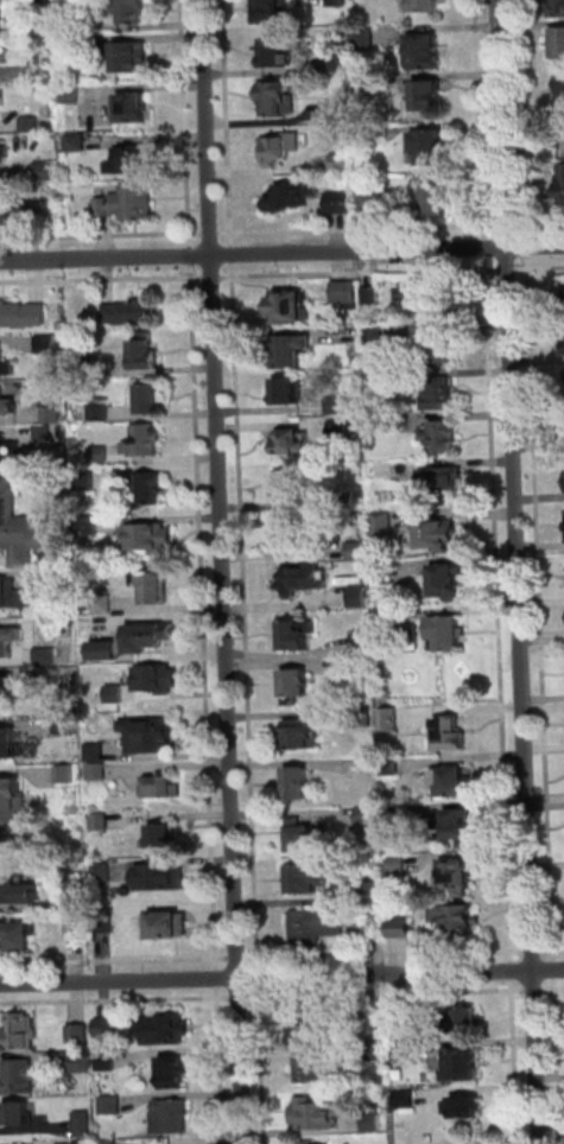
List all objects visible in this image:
building: (40, 4)
building: (338, 4)
building: (425, 6)
building: (557, 7)
building: (131, 11)
building: (272, 12)
building: (1, 19)
building: (78, 25)
building: (365, 39)
building: (68, 44)
building: (560, 45)
building: (426, 52)
building: (278, 53)
building: (133, 58)
building: (338, 66)
building: (39, 71)
building: (366, 87)
building: (560, 93)
building: (72, 94)
building: (431, 98)
building: (279, 100)
building: (135, 109)
building: (338, 112)
road: (522, 119)
building: (31, 126)
building: (78, 142)
building: (281, 148)
building: (432, 148)
building: (4, 158)
building: (131, 163)
building: (343, 163)
building: (46, 171)
building: (563, 179)
building: (291, 197)
building: (437, 202)
building: (134, 203)
building: (341, 204)
building: (370, 204)
building: (103, 206)
building: (2, 210)
building: (28, 212)
road: (539, 224)
road: (509, 225)
road: (527, 246)
road: (281, 253)
road: (192, 260)
road: (539, 268)
road: (511, 269)
road: (208, 278)
road: (101, 279)
building: (347, 295)
building: (372, 298)
building: (431, 301)
building: (291, 310)
building: (133, 313)
building: (23, 317)
building: (375, 337)
building: (563, 341)
building: (47, 345)
building: (439, 349)
building: (292, 351)
building: (145, 357)
building: (6, 366)
building: (88, 367)
building: (378, 381)
building: (289, 393)
building: (438, 393)
building: (150, 399)
building: (8, 406)
building: (337, 406)
building: (99, 413)
building: (53, 417)
building: (381, 422)
building: (338, 430)
building: (44, 434)
building: (442, 438)
building: (144, 441)
building: (293, 444)
building: (11, 452)
building: (100, 455)
building: (88, 482)
building: (443, 483)
building: (292, 487)
building: (150, 489)
building: (347, 502)
building: (384, 525)
building: (17, 528)
building: (88, 528)
building: (439, 536)
building: (151, 539)
building: (292, 539)
building: (357, 551)
building: (62, 555)
road: (223, 571)
road: (518, 571)
building: (63, 579)
building: (302, 581)
building: (448, 584)
building: (154, 589)
building: (12, 596)
building: (360, 597)
building: (103, 605)
road: (541, 608)
road: (205, 616)
building: (394, 621)
building: (446, 635)
building: (151, 638)
building: (296, 638)
building: (9, 642)
building: (361, 643)
building: (108, 653)
building: (46, 657)
building: (361, 668)
building: (64, 676)
building: (158, 680)
building: (297, 685)
building: (7, 689)
building: (115, 694)
building: (363, 718)
building: (389, 720)
building: (150, 736)
building: (451, 736)
building: (302, 737)
building: (8, 744)
building: (96, 752)
building: (391, 767)
building: (99, 773)
building: (66, 775)
building: (454, 783)
building: (300, 786)
building: (164, 788)
building: (11, 808)
building: (367, 815)
building: (394, 820)
building: (101, 822)
building: (461, 827)
building: (163, 838)
building: (305, 839)
building: (398, 866)
building: (104, 872)
building: (163, 878)
building: (460, 878)
building: (310, 879)
building: (375, 890)
building: (18, 894)
building: (75, 902)
building: (456, 921)
building: (315, 927)
building: (167, 928)
building: (400, 929)
building: (370, 930)
building: (77, 932)
building: (19, 938)
road: (532, 951)
road: (552, 951)
road: (386, 954)
road: (239, 959)
road: (114, 961)
road: (553, 970)
road: (281, 977)
road: (218, 979)
road: (533, 990)
road: (552, 990)
road: (387, 993)
road: (239, 996)
road: (115, 1002)
building: (456, 1021)
building: (107, 1030)
building: (170, 1031)
building: (21, 1034)
building: (80, 1035)
building: (400, 1049)
building: (461, 1062)
road: (557, 1062)
building: (80, 1063)
building: (107, 1063)
road: (221, 1066)
building: (312, 1068)
building: (175, 1075)
building: (23, 1078)
building: (403, 1097)
building: (461, 1104)
building: (113, 1106)
building: (313, 1112)
building: (20, 1116)
building: (172, 1117)
building: (368, 1119)
building: (84, 1125)
building: (305, 1142)
building: (84, 1143)
building: (110, 1143)
building: (315, 1143)

